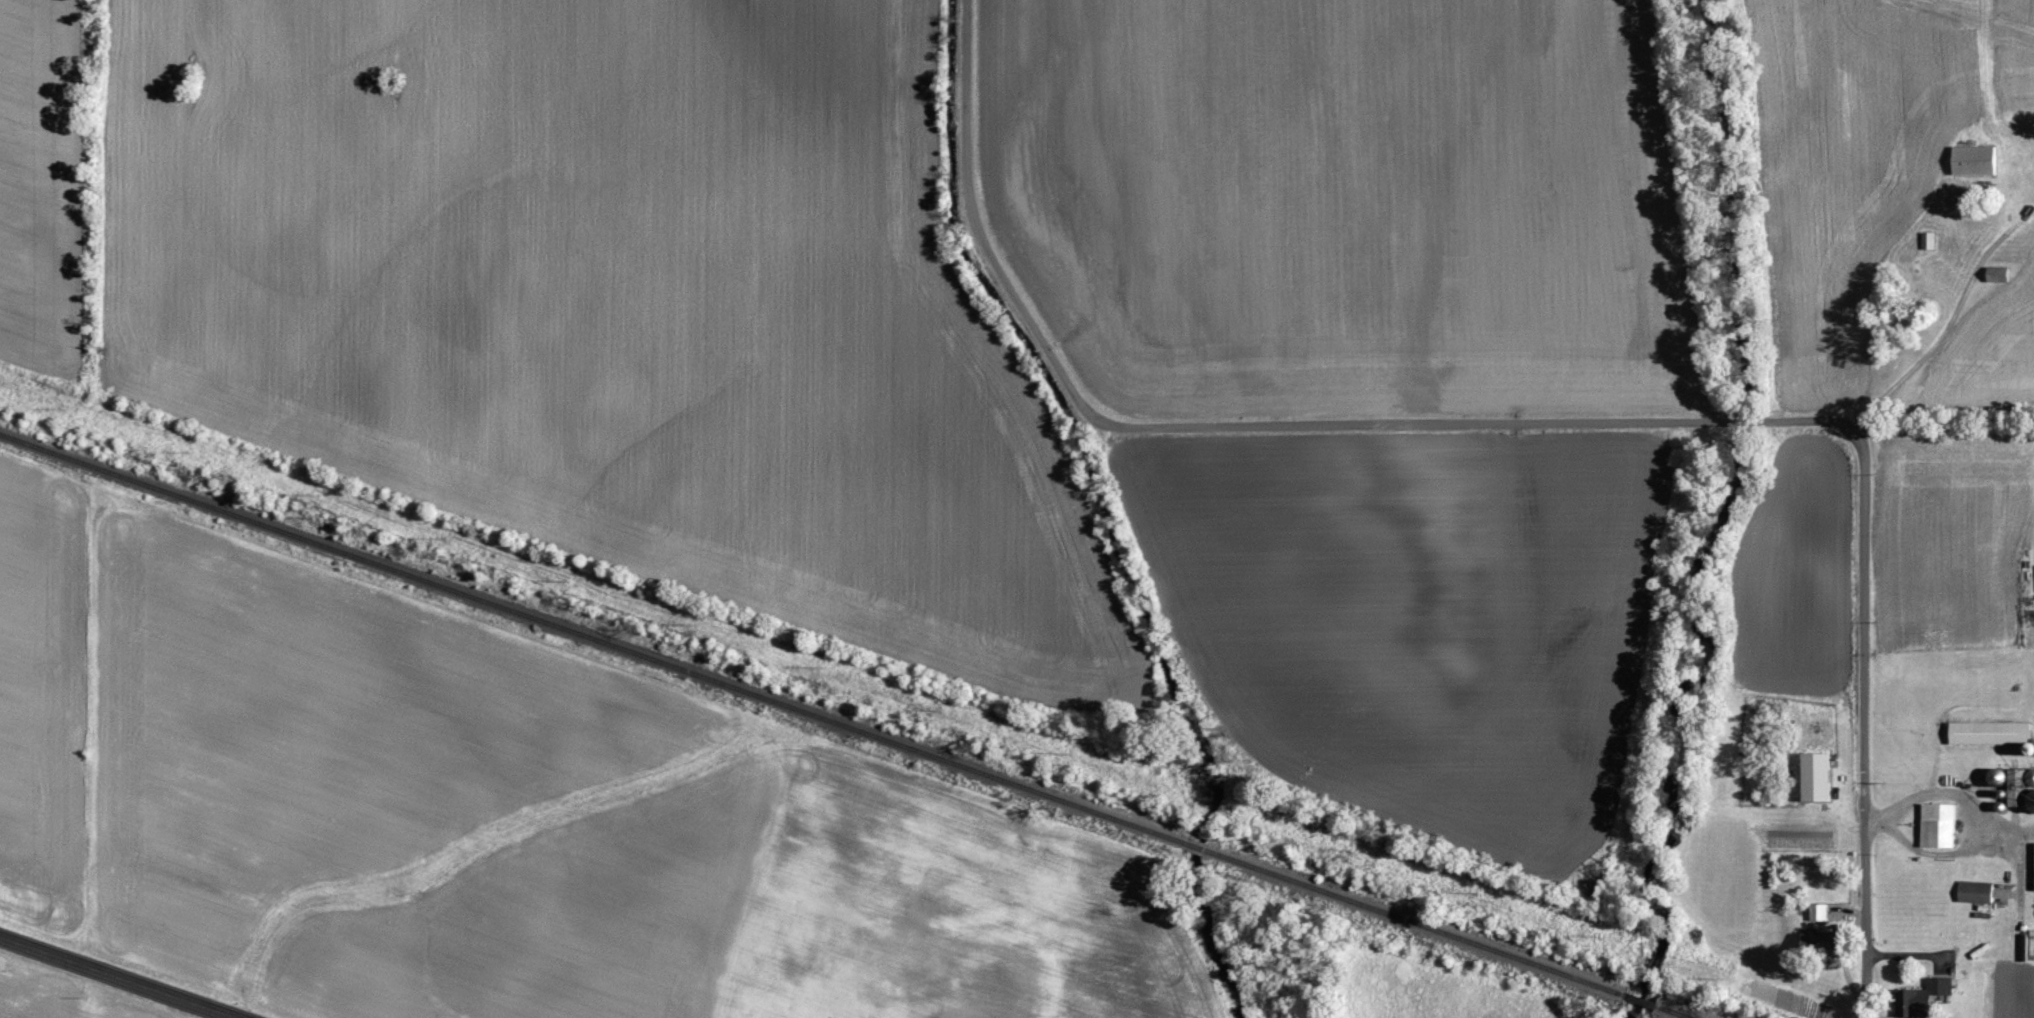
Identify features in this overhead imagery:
building: (1973, 157)
road: (2022, 216)
road: (978, 227)
building: (1927, 238)
building: (1996, 272)
road: (1940, 334)
road: (1799, 418)
road: (1735, 419)
road: (1414, 422)
railway: (593, 636)
road: (1863, 719)
building: (1993, 731)
building: (1822, 775)
building: (2016, 783)
building: (1943, 824)
railway: (1198, 845)
building: (1978, 891)
railway: (1418, 921)
road: (117, 978)
building: (1930, 996)
railway: (1641, 997)
railway: (1678, 1010)

